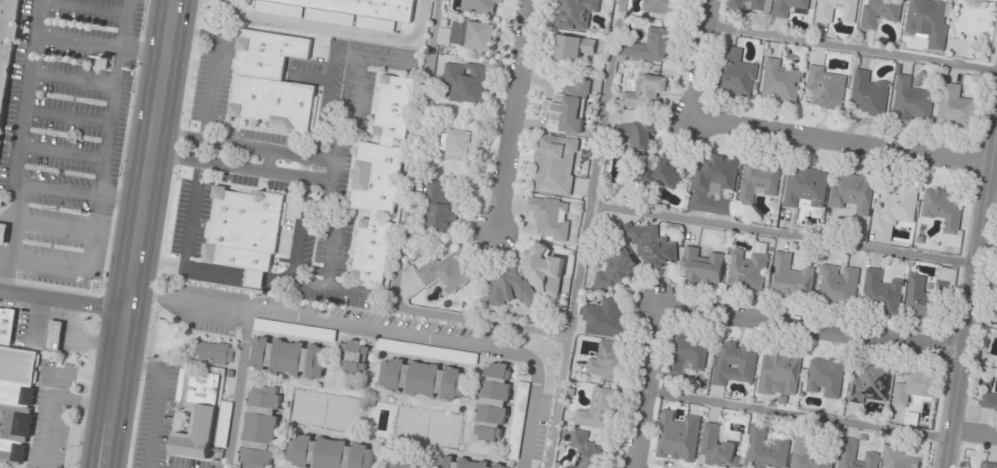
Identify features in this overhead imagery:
building: (735, 4)
building: (757, 4)
building: (481, 6)
building: (659, 6)
building: (788, 6)
road: (83, 7)
building: (348, 10)
building: (836, 10)
building: (880, 12)
building: (574, 13)
building: (929, 21)
building: (467, 35)
road: (102, 45)
building: (7, 46)
building: (649, 46)
building: (570, 48)
road: (853, 49)
road: (705, 60)
building: (104, 62)
building: (735, 73)
road: (72, 80)
building: (269, 82)
building: (466, 82)
building: (779, 82)
building: (824, 88)
building: (643, 92)
building: (867, 95)
building: (911, 100)
building: (569, 107)
building: (955, 108)
road: (513, 115)
road: (67, 116)
building: (637, 136)
building: (456, 142)
road: (846, 142)
road: (17, 146)
road: (61, 152)
building: (554, 165)
building: (670, 169)
road: (103, 171)
building: (379, 179)
building: (758, 179)
building: (713, 184)
building: (805, 188)
building: (852, 193)
road: (82, 194)
building: (438, 208)
building: (896, 208)
building: (943, 213)
building: (550, 217)
road: (55, 227)
building: (244, 231)
building: (3, 233)
road: (141, 233)
road: (578, 233)
road: (780, 234)
building: (652, 245)
road: (988, 248)
building: (703, 266)
building: (543, 268)
building: (617, 271)
building: (446, 272)
building: (748, 272)
building: (948, 275)
building: (790, 278)
building: (838, 285)
building: (508, 286)
building: (881, 292)
road: (64, 299)
building: (921, 299)
road: (971, 300)
building: (607, 319)
building: (6, 324)
building: (262, 325)
road: (812, 327)
road: (386, 329)
building: (53, 335)
gas station: (53, 335)
building: (215, 352)
building: (688, 354)
building: (446, 355)
building: (287, 357)
building: (353, 357)
building: (734, 362)
building: (608, 363)
building: (781, 371)
building: (825, 377)
building: (423, 379)
building: (871, 384)
road: (647, 385)
building: (914, 387)
road: (238, 389)
road: (159, 397)
building: (17, 402)
building: (493, 402)
building: (989, 402)
building: (600, 410)
building: (203, 414)
road: (798, 414)
building: (519, 420)
building: (259, 427)
road: (973, 433)
building: (678, 438)
building: (718, 449)
building: (766, 449)
building: (587, 452)
building: (327, 453)
building: (807, 453)
building: (856, 455)
building: (899, 458)
building: (464, 463)
building: (989, 463)
building: (403, 464)

